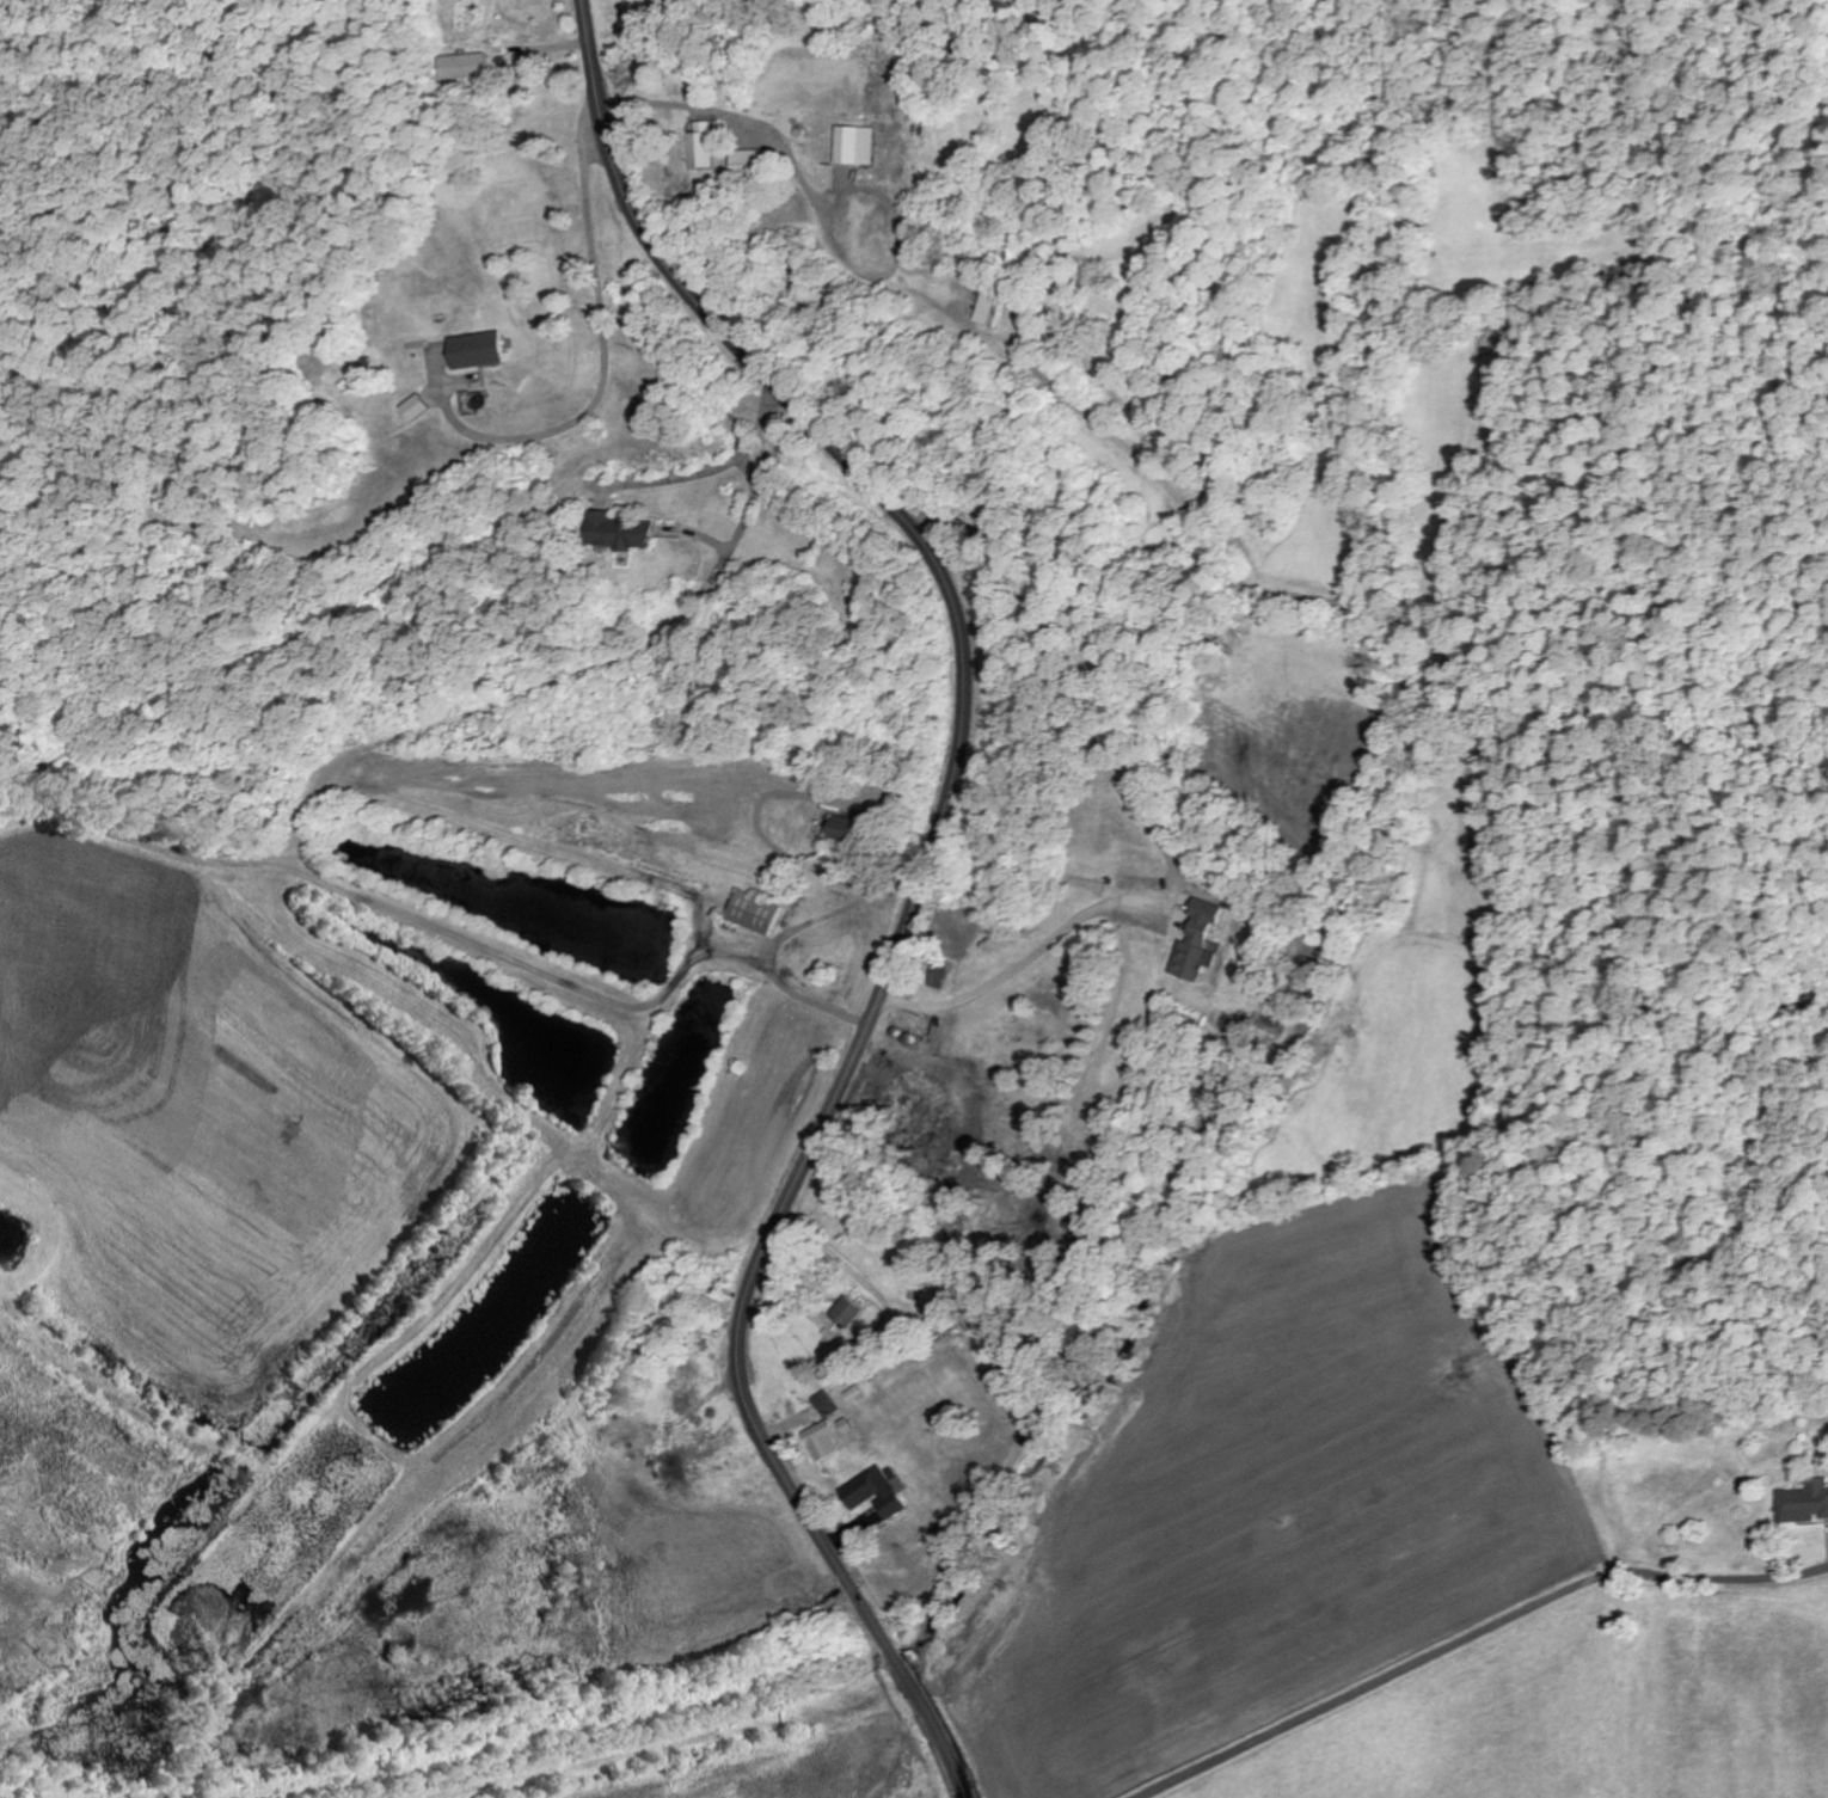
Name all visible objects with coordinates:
building: (462, 68)
building: (698, 147)
building: (853, 147)
building: (747, 164)
building: (988, 309)
building: (472, 351)
building: (412, 409)
building: (617, 532)
building: (842, 830)
road: (918, 880)
building: (754, 914)
building: (1198, 944)
building: (846, 1313)
building: (875, 1495)
building: (1803, 1504)
road: (1476, 1637)

